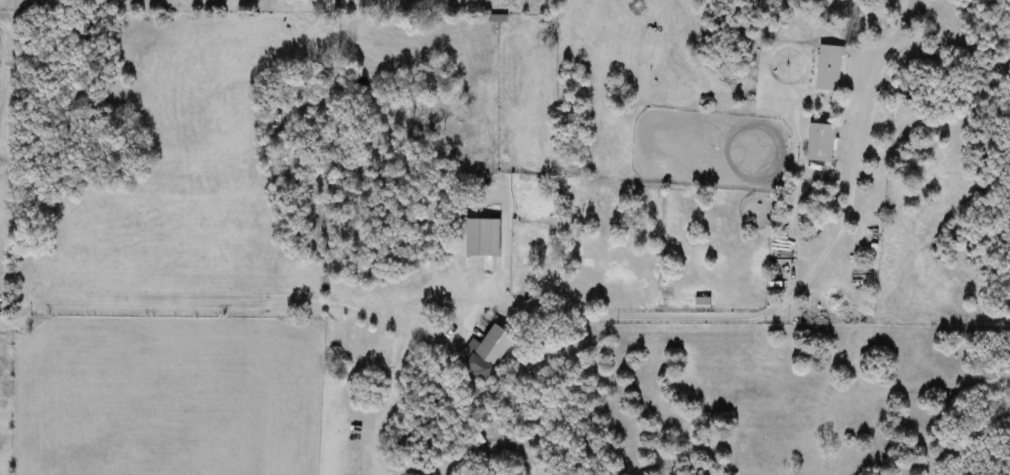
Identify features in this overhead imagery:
road: (918, 17)
building: (831, 67)
building: (824, 141)
building: (486, 237)
road: (805, 267)
building: (704, 302)
building: (488, 352)

